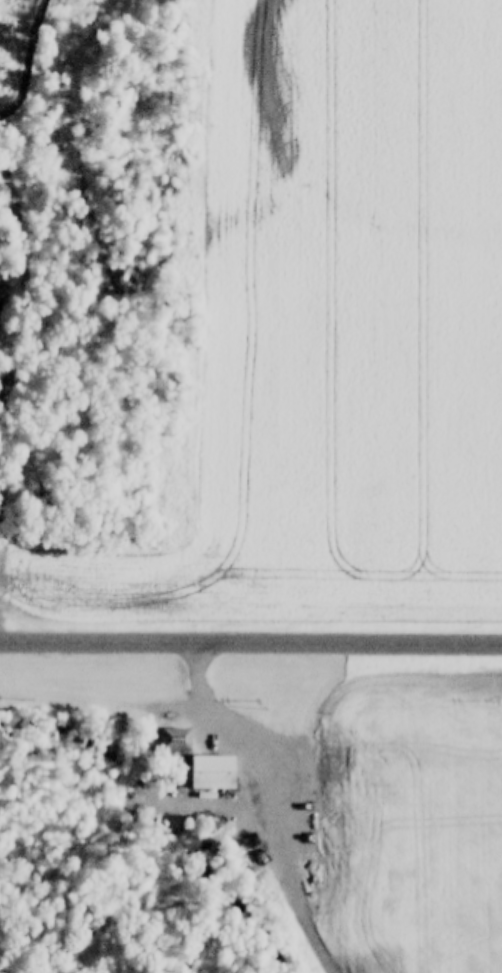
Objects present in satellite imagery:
road: (250, 644)
road: (254, 735)
building: (169, 738)
building: (210, 772)

